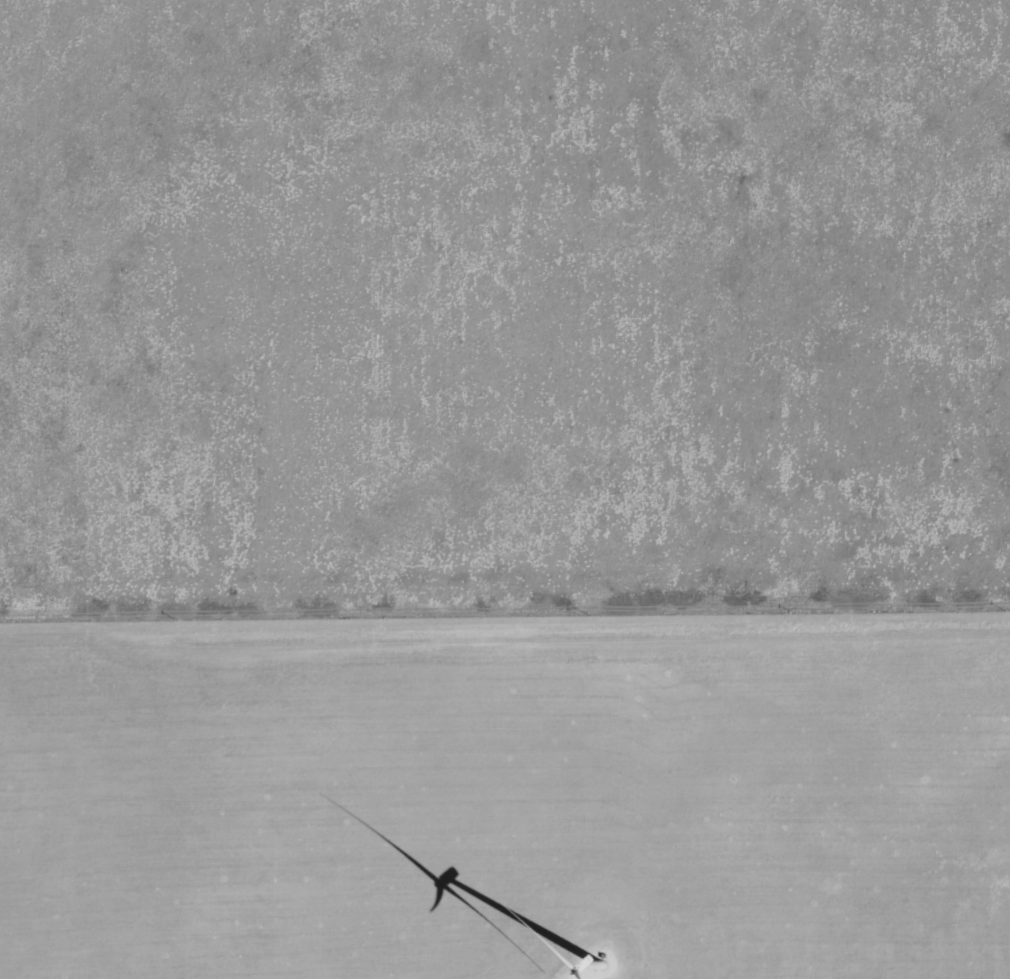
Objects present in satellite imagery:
wind turbine: (592, 953)

